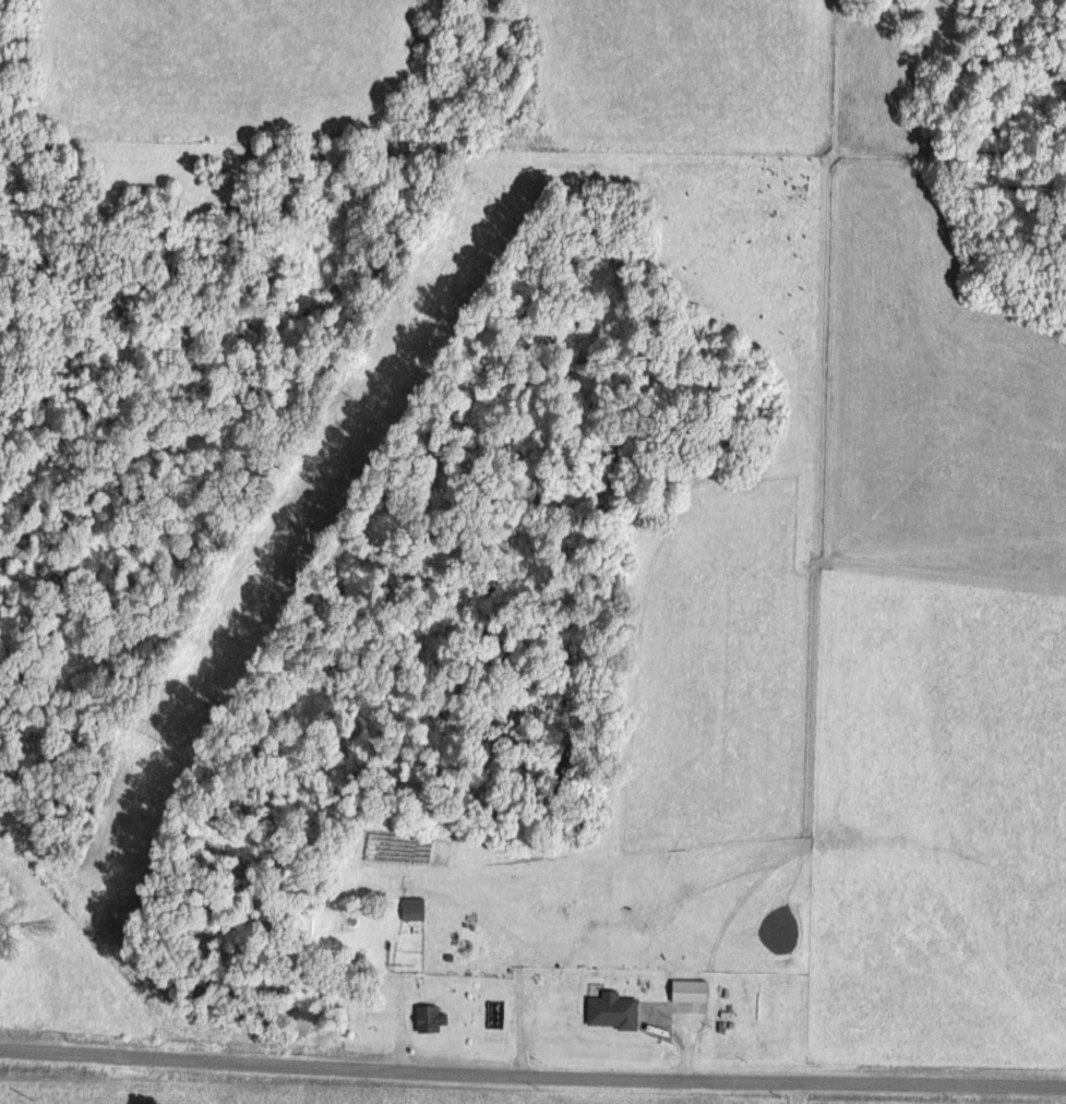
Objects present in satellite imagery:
road: (91, 938)
building: (687, 991)
road: (522, 1011)
building: (610, 1011)
building: (428, 1019)
road: (532, 1072)

